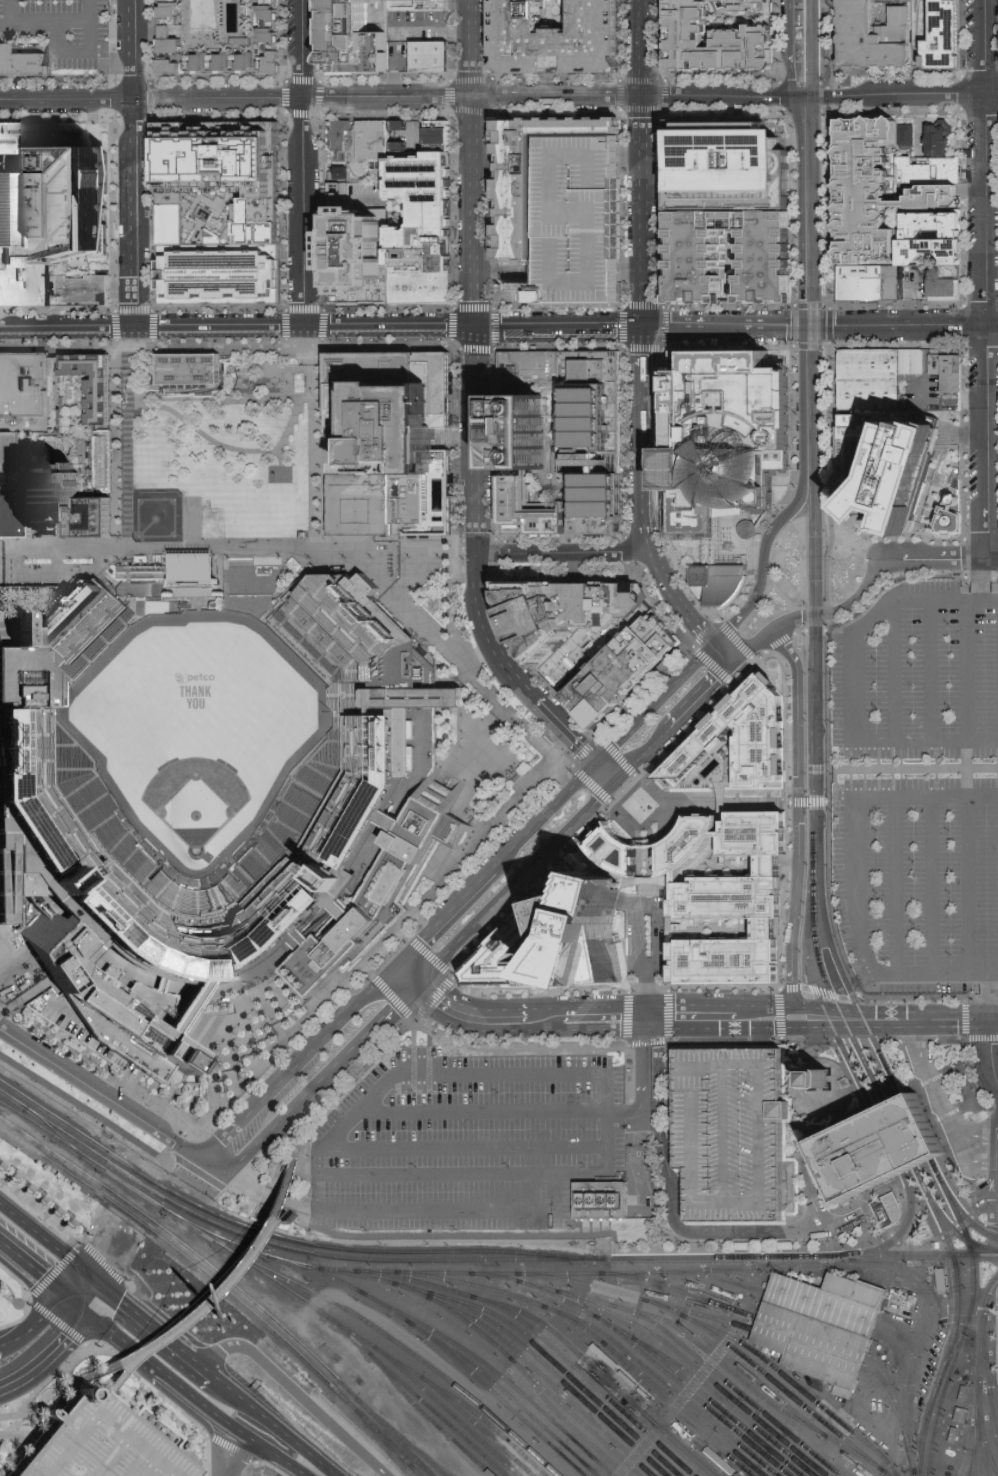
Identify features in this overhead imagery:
building: (418, 6)
building: (756, 6)
road: (8, 11)
road: (88, 11)
road: (80, 23)
building: (172, 23)
building: (901, 27)
parking lot: (63, 32)
building: (413, 35)
building: (944, 37)
building: (352, 38)
railway: (818, 38)
building: (557, 39)
railway: (804, 40)
building: (745, 41)
road: (801, 41)
building: (868, 42)
road: (62, 47)
road: (787, 48)
building: (431, 56)
building: (23, 64)
road: (812, 82)
road: (813, 96)
road: (916, 96)
traffic signals: (794, 97)
road: (397, 100)
road: (783, 103)
road: (922, 129)
building: (444, 130)
building: (909, 137)
building: (25, 138)
building: (942, 138)
building: (448, 147)
building: (376, 149)
road: (828, 153)
road: (475, 154)
building: (727, 159)
building: (220, 160)
road: (945, 162)
road: (645, 164)
road: (303, 165)
road: (135, 166)
building: (936, 173)
building: (528, 178)
building: (876, 189)
road: (967, 206)
building: (20, 210)
building: (76, 211)
road: (801, 211)
building: (422, 214)
parking lot: (576, 216)
building: (170, 218)
building: (576, 220)
parking lot: (576, 220)
building: (258, 223)
building: (933, 226)
building: (930, 251)
building: (359, 256)
building: (693, 258)
building: (221, 275)
building: (25, 277)
road: (986, 279)
building: (946, 283)
building: (871, 284)
parking lot: (916, 284)
building: (84, 290)
building: (421, 290)
road: (910, 299)
road: (829, 324)
road: (899, 324)
road: (793, 325)
road: (722, 327)
traffic signals: (802, 327)
traffic signals: (644, 329)
road: (67, 331)
road: (389, 331)
traffic signals: (477, 331)
road: (650, 341)
road: (311, 349)
road: (129, 351)
building: (913, 363)
road: (644, 364)
road: (927, 364)
building: (528, 366)
building: (188, 369)
road: (967, 369)
building: (950, 372)
road: (658, 375)
building: (872, 381)
building: (26, 393)
road: (218, 399)
road: (802, 401)
building: (593, 419)
road: (292, 427)
building: (99, 429)
building: (399, 432)
building: (519, 432)
road: (201, 435)
building: (726, 438)
railway: (810, 443)
road: (113, 447)
road: (322, 449)
building: (4, 452)
road: (643, 452)
road: (312, 459)
road: (128, 460)
road: (281, 460)
park: (225, 463)
parking lot: (683, 470)
building: (908, 470)
road: (830, 472)
building: (593, 492)
building: (46, 495)
road: (784, 499)
building: (360, 504)
building: (526, 509)
road: (478, 513)
park: (157, 519)
building: (596, 520)
road: (647, 529)
building: (745, 530)
road: (479, 541)
road: (456, 547)
building: (894, 548)
road: (1, 551)
road: (201, 551)
road: (425, 554)
road: (705, 554)
road: (565, 555)
road: (993, 558)
railway: (818, 559)
road: (957, 560)
road: (766, 564)
road: (456, 568)
road: (904, 573)
road: (987, 579)
building: (719, 583)
road: (991, 600)
road: (449, 603)
road: (677, 603)
road: (500, 613)
road: (827, 613)
road: (829, 613)
building: (565, 620)
road: (827, 626)
road: (817, 629)
road: (801, 631)
road: (703, 632)
road: (734, 637)
road: (779, 641)
traffic signals: (715, 644)
road: (604, 648)
road: (776, 653)
road: (724, 654)
road: (762, 656)
road: (456, 658)
road: (756, 659)
road: (710, 662)
traffic signals: (734, 665)
road: (930, 670)
road: (969, 670)
building: (620, 672)
road: (892, 672)
road: (733, 682)
road: (854, 686)
road: (701, 696)
railway: (814, 700)
road: (655, 702)
road: (701, 720)
road: (786, 729)
park: (196, 730)
road: (567, 731)
building: (735, 744)
road: (584, 749)
road: (617, 754)
road: (643, 754)
traffic signals: (597, 762)
road: (913, 767)
road: (607, 772)
road: (640, 775)
road: (589, 782)
traffic signals: (617, 782)
stadium: (215, 784)
parking lot: (918, 786)
road: (628, 792)
road: (793, 798)
building: (636, 800)
road: (725, 800)
road: (721, 802)
road: (611, 803)
road: (544, 817)
road: (656, 817)
road: (798, 819)
building: (359, 820)
road: (3, 824)
road: (642, 842)
railway: (816, 844)
road: (855, 862)
road: (519, 884)
road: (931, 884)
road: (968, 884)
road: (828, 885)
road: (895, 885)
road: (643, 887)
road: (534, 890)
road: (783, 893)
building: (722, 897)
road: (661, 909)
building: (552, 912)
road: (446, 919)
road: (404, 932)
building: (589, 936)
road: (385, 942)
road: (433, 956)
traffic signals: (399, 965)
road: (365, 967)
road: (980, 973)
road: (994, 973)
road: (410, 976)
road: (703, 985)
road: (789, 986)
road: (805, 986)
traffic signals: (422, 987)
road: (540, 987)
road: (823, 992)
road: (393, 995)
road: (991, 995)
road: (847, 996)
road: (436, 997)
railway: (835, 1002)
railway: (822, 1005)
road: (400, 1007)
road: (456, 1008)
road: (665, 1012)
road: (779, 1014)
road: (628, 1015)
road: (644, 1016)
road: (852, 1017)
road: (952, 1017)
traffic signals: (992, 1017)
road: (995, 1017)
road: (649, 1031)
road: (980, 1037)
road: (917, 1038)
road: (849, 1039)
road: (733, 1041)
road: (646, 1042)
road: (56, 1043)
road: (318, 1044)
road: (517, 1045)
railway: (832, 1049)
road: (991, 1050)
road: (800, 1053)
road: (924, 1063)
road: (965, 1063)
road: (953, 1067)
road: (443, 1070)
building: (860, 1072)
road: (355, 1078)
road: (932, 1078)
road: (126, 1079)
building: (818, 1079)
road: (801, 1083)
building: (843, 1083)
road: (122, 1087)
road: (119, 1089)
road: (101, 1092)
road: (642, 1094)
park: (79, 1099)
road: (834, 1099)
road: (303, 1100)
road: (78, 1105)
road: (163, 1109)
road: (483, 1109)
road: (995, 1110)
road: (830, 1117)
road: (606, 1122)
road: (631, 1127)
railway: (40, 1128)
railway: (52, 1131)
building: (732, 1131)
parking lot: (732, 1131)
railway: (916, 1131)
road: (939, 1132)
road: (994, 1132)
railway: (883, 1133)
road: (190, 1135)
railway: (900, 1139)
road: (219, 1140)
road: (958, 1143)
parking lot: (462, 1146)
road: (179, 1147)
road: (466, 1147)
road: (293, 1149)
building: (878, 1149)
railway: (46, 1154)
railway: (896, 1163)
railway: (923, 1164)
road: (214, 1165)
road: (277, 1165)
railway: (914, 1165)
road: (462, 1173)
railway: (935, 1173)
road: (200, 1175)
railway: (917, 1176)
road: (806, 1179)
road: (317, 1180)
railway: (121, 1182)
road: (247, 1184)
road: (558, 1190)
building: (599, 1199)
road: (994, 1199)
road: (292, 1201)
road: (265, 1203)
road: (437, 1207)
building: (886, 1211)
railway: (969, 1211)
road: (281, 1213)
railway: (965, 1217)
road: (275, 1218)
road: (281, 1218)
road: (870, 1219)
road: (991, 1225)
railway: (901, 1228)
railway: (950, 1228)
road: (957, 1229)
road: (685, 1230)
road: (34, 1233)
road: (419, 1235)
railway: (931, 1236)
railway: (218, 1237)
railway: (280, 1237)
railway: (280, 1246)
road: (780, 1247)
road: (87, 1248)
railway: (650, 1253)
railway: (910, 1255)
railway: (819, 1256)
railway: (839, 1256)
railway: (708, 1257)
railway: (781, 1261)
railway: (297, 1263)
railway: (896, 1267)
road: (32, 1268)
railway: (736, 1271)
traffic signals: (83, 1273)
railway: (532, 1273)
railway: (268, 1278)
railway: (711, 1278)
railway: (216, 1282)
railway: (228, 1282)
traffic signals: (102, 1289)
road: (38, 1291)
railway: (678, 1291)
traffic signals: (64, 1295)
railway: (634, 1297)
railway: (824, 1297)
road: (12, 1300)
road: (93, 1301)
road: (7, 1302)
road: (74, 1303)
road: (205, 1303)
traffic signals: (85, 1313)
railway: (818, 1313)
road: (45, 1316)
road: (50, 1317)
road: (19, 1319)
road: (140, 1320)
building: (819, 1326)
railway: (954, 1329)
railway: (963, 1329)
road: (985, 1334)
railway: (593, 1335)
railway: (542, 1338)
railway: (690, 1338)
railway: (810, 1338)
road: (116, 1339)
road: (78, 1341)
railway: (494, 1344)
railway: (402, 1347)
railway: (980, 1348)
railway: (442, 1349)
railway: (806, 1349)
road: (9, 1352)
railway: (951, 1353)
road: (47, 1358)
railway: (397, 1362)
railway: (541, 1362)
railway: (674, 1363)
railway: (561, 1370)
railway: (911, 1370)
railway: (493, 1371)
railway: (698, 1371)
railway: (598, 1372)
railway: (778, 1372)
railway: (986, 1375)
road: (119, 1378)
railway: (544, 1378)
road: (48, 1380)
railway: (663, 1382)
railway: (989, 1382)
railway: (729, 1384)
railway: (761, 1386)
road: (228, 1390)
building: (846, 1390)
railway: (785, 1392)
railway: (505, 1393)
road: (293, 1395)
railway: (414, 1395)
railway: (691, 1395)
road: (190, 1396)
road: (44, 1397)
railway: (887, 1397)
railway: (904, 1397)
railway: (715, 1405)
railway: (682, 1408)
railway: (446, 1411)
railway: (896, 1411)
road: (8, 1416)
railway: (426, 1417)
railway: (562, 1419)
railway: (990, 1420)
railway: (486, 1422)
railway: (476, 1425)
railway: (980, 1430)
road: (19, 1435)
railway: (399, 1436)
road: (288, 1438)
building: (99, 1443)
parking lot: (99, 1443)
railway: (392, 1443)
railway: (970, 1449)
railway: (973, 1449)
railway: (985, 1449)
road: (230, 1453)
road: (266, 1453)
railway: (413, 1470)
railway: (414, 1470)

